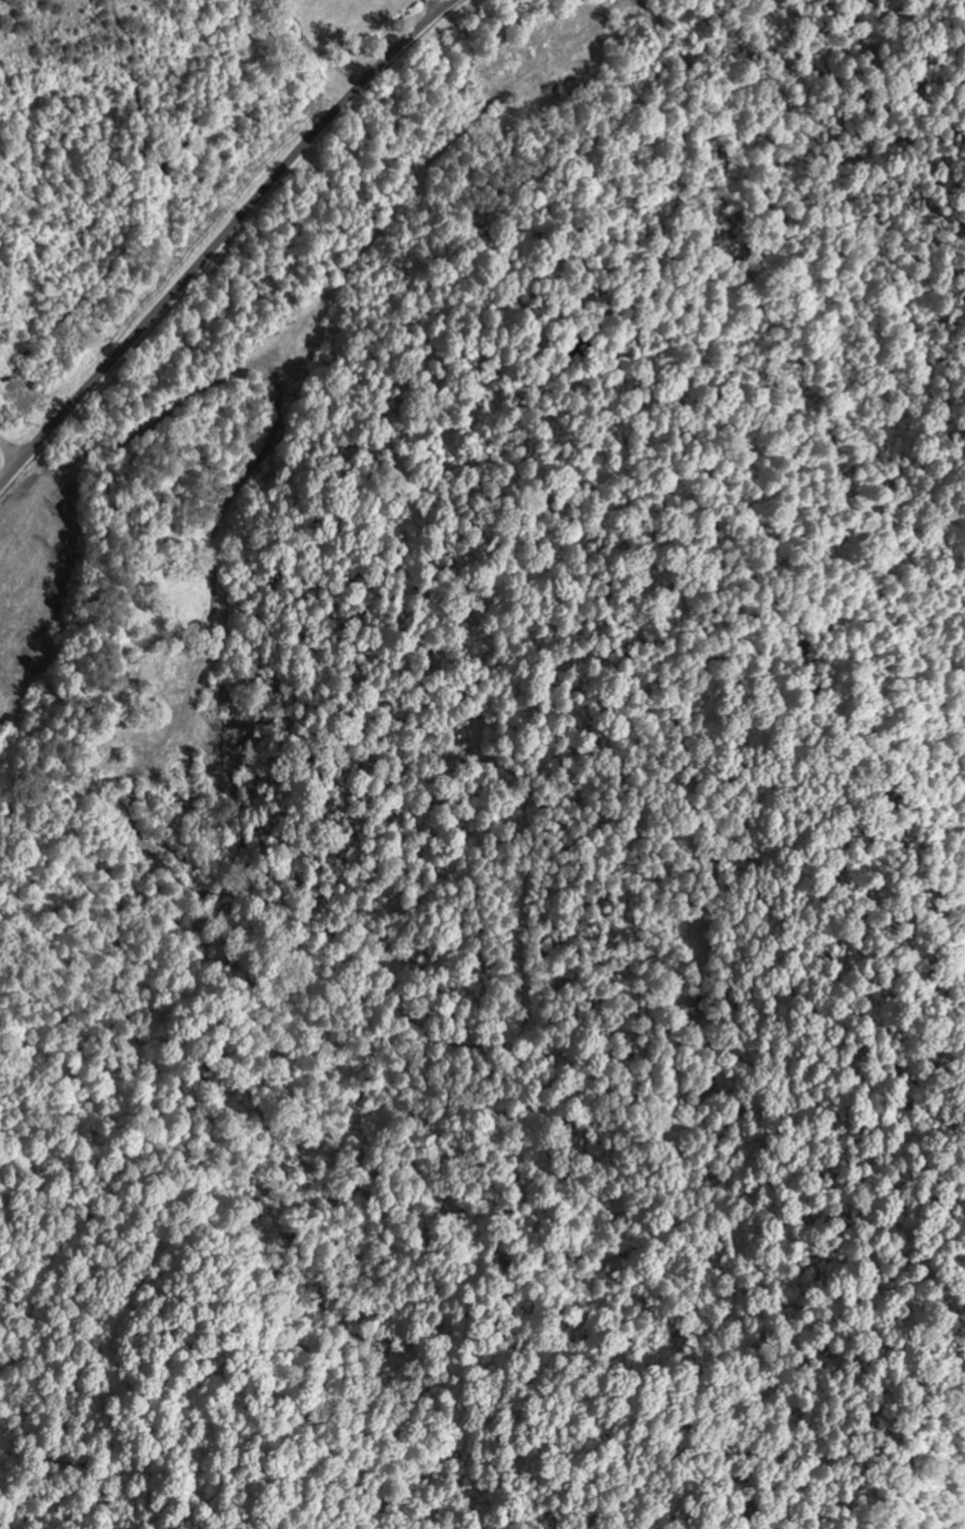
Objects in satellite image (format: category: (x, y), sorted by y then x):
road: (224, 238)
road: (11, 454)

